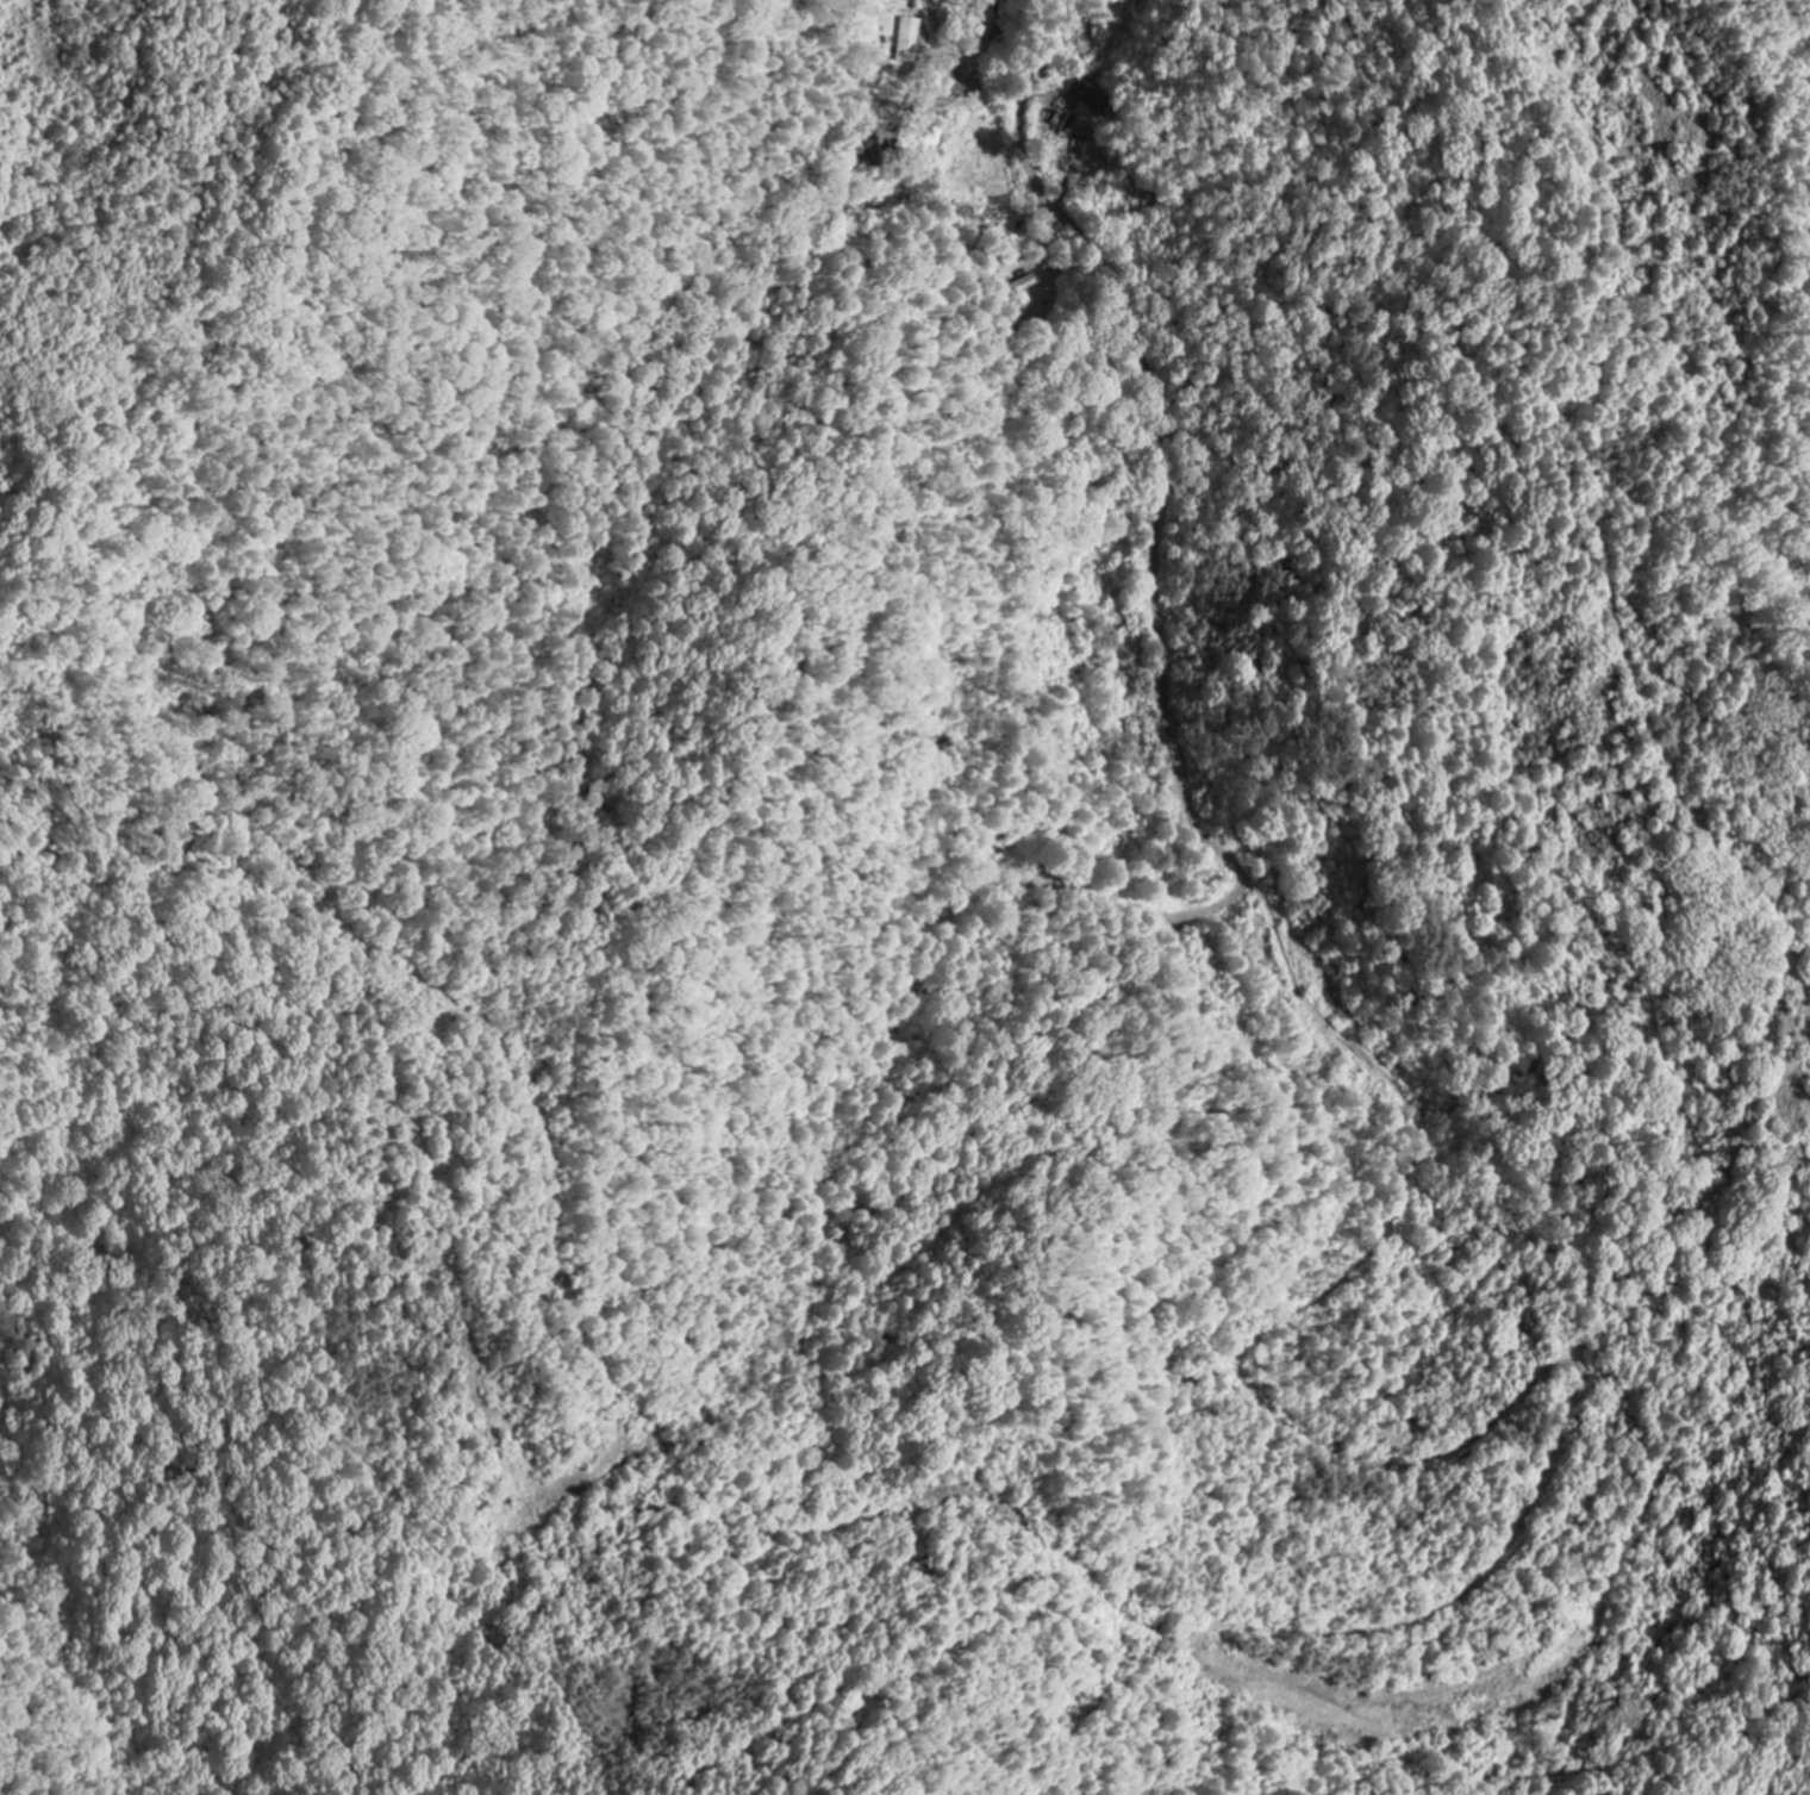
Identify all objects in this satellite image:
building: (909, 42)
road: (973, 80)
road: (1163, 468)

